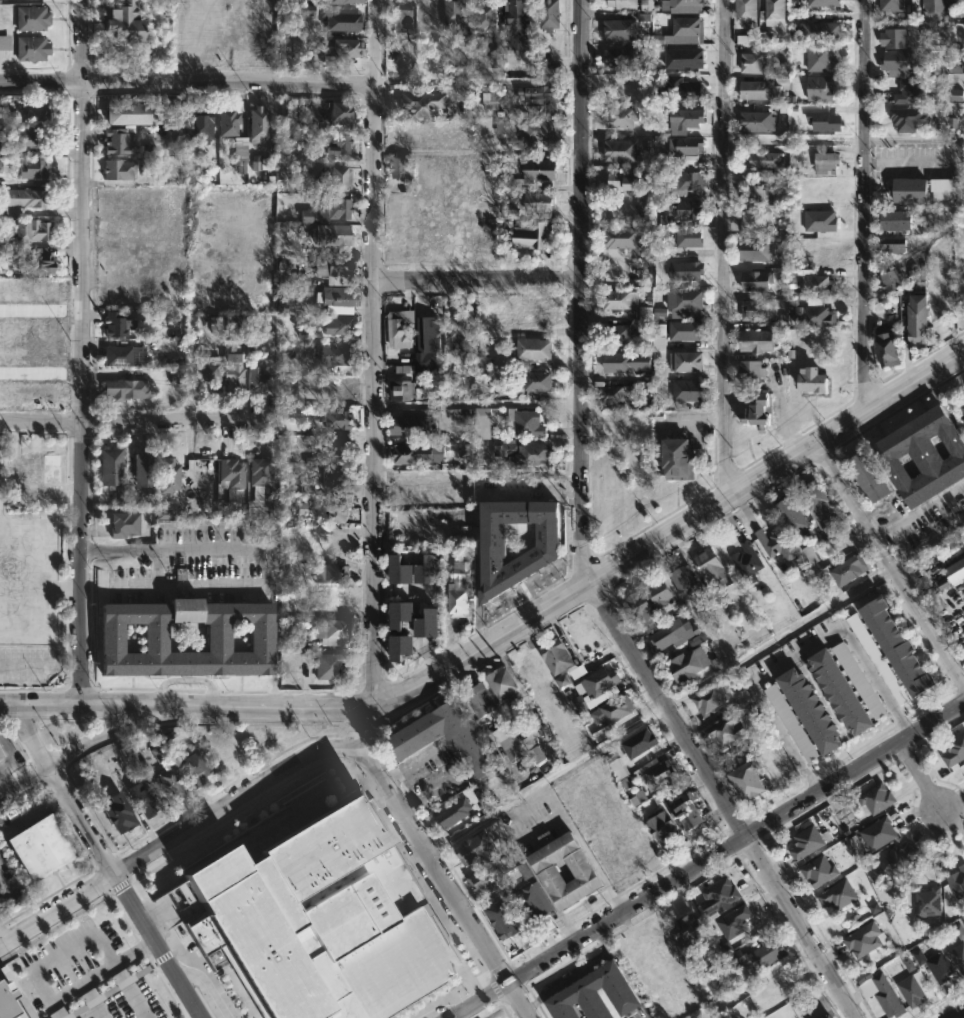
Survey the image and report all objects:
building: (346, 1)
building: (823, 2)
building: (687, 3)
building: (620, 4)
building: (895, 5)
building: (963, 5)
building: (938, 6)
building: (745, 12)
building: (773, 12)
building: (401, 14)
building: (551, 14)
building: (429, 15)
building: (458, 16)
building: (487, 16)
building: (32, 18)
building: (519, 20)
building: (125, 21)
building: (344, 21)
building: (627, 26)
building: (687, 26)
building: (822, 31)
building: (897, 37)
building: (747, 38)
building: (5, 42)
building: (34, 47)
building: (339, 49)
building: (503, 55)
building: (622, 58)
building: (687, 58)
building: (821, 58)
building: (756, 62)
building: (900, 62)
building: (422, 64)
building: (955, 64)
building: (543, 65)
road: (187, 82)
building: (821, 87)
building: (682, 89)
building: (629, 90)
building: (757, 90)
building: (912, 91)
building: (955, 94)
building: (541, 97)
building: (491, 101)
building: (425, 103)
building: (35, 110)
building: (130, 113)
building: (289, 114)
building: (342, 114)
building: (624, 117)
building: (687, 117)
building: (909, 118)
building: (229, 120)
building: (757, 121)
building: (824, 121)
building: (259, 123)
building: (503, 125)
building: (202, 126)
building: (542, 129)
building: (418, 134)
building: (463, 134)
building: (30, 137)
road: (913, 140)
building: (119, 141)
building: (337, 144)
building: (3, 149)
building: (684, 149)
building: (623, 150)
building: (243, 154)
building: (769, 158)
road: (909, 161)
building: (825, 163)
building: (32, 168)
building: (404, 168)
building: (120, 169)
building: (296, 170)
building: (541, 171)
building: (336, 178)
building: (626, 180)
building: (688, 182)
building: (908, 187)
building: (945, 188)
building: (760, 195)
building: (26, 197)
building: (543, 200)
road: (863, 207)
building: (688, 209)
building: (307, 215)
building: (893, 218)
building: (326, 219)
building: (756, 219)
building: (821, 222)
building: (458, 226)
building: (400, 229)
building: (34, 230)
building: (429, 231)
building: (534, 235)
building: (625, 237)
building: (688, 237)
building: (890, 245)
building: (755, 249)
road: (723, 251)
building: (35, 262)
building: (335, 266)
building: (685, 269)
building: (757, 280)
building: (895, 280)
road: (478, 281)
building: (814, 281)
building: (337, 296)
building: (30, 297)
building: (626, 300)
building: (686, 303)
building: (756, 308)
building: (534, 315)
building: (816, 315)
building: (919, 319)
building: (117, 324)
building: (339, 324)
building: (235, 327)
building: (29, 328)
building: (402, 328)
building: (685, 330)
building: (429, 332)
building: (460, 333)
building: (621, 335)
building: (761, 340)
building: (884, 347)
building: (537, 349)
road: (79, 353)
building: (124, 355)
building: (335, 355)
building: (29, 356)
building: (468, 359)
building: (685, 360)
building: (627, 362)
building: (209, 371)
building: (236, 371)
building: (754, 372)
building: (259, 380)
building: (540, 381)
building: (809, 381)
building: (126, 389)
building: (403, 390)
building: (337, 391)
building: (691, 391)
building: (29, 393)
building: (617, 395)
road: (476, 402)
building: (963, 408)
building: (757, 409)
building: (338, 418)
road: (133, 422)
building: (483, 423)
building: (406, 424)
building: (529, 424)
building: (339, 447)
building: (525, 453)
building: (405, 454)
building: (922, 456)
building: (676, 458)
building: (143, 466)
building: (231, 473)
building: (112, 474)
building: (171, 474)
building: (262, 475)
building: (336, 476)
building: (866, 476)
building: (525, 484)
building: (408, 496)
building: (459, 503)
building: (816, 503)
building: (337, 511)
building: (162, 514)
building: (795, 519)
building: (124, 525)
road: (369, 531)
building: (242, 533)
road: (669, 535)
building: (774, 543)
road: (928, 543)
road: (579, 547)
road: (94, 548)
road: (257, 554)
building: (545, 554)
building: (746, 561)
building: (809, 561)
road: (892, 563)
building: (710, 567)
building: (847, 568)
building: (954, 570)
building: (431, 571)
building: (403, 572)
building: (336, 574)
building: (683, 580)
building: (461, 590)
building: (657, 591)
building: (329, 597)
building: (288, 602)
building: (642, 610)
building: (407, 614)
building: (434, 624)
building: (332, 632)
building: (672, 633)
building: (219, 636)
road: (780, 640)
building: (893, 646)
building: (408, 647)
building: (553, 655)
building: (878, 659)
building: (685, 663)
building: (330, 666)
building: (563, 679)
road: (874, 679)
building: (598, 680)
building: (860, 680)
building: (509, 684)
building: (841, 692)
road: (756, 694)
building: (483, 700)
building: (707, 700)
road: (184, 707)
building: (611, 708)
building: (753, 709)
building: (811, 710)
building: (791, 722)
building: (723, 729)
building: (415, 740)
building: (637, 743)
building: (515, 747)
building: (954, 749)
road: (79, 754)
building: (158, 754)
road: (459, 754)
building: (537, 754)
building: (0, 756)
building: (194, 767)
building: (619, 767)
building: (658, 774)
road: (545, 777)
road: (919, 777)
building: (745, 780)
building: (171, 783)
road: (60, 792)
building: (875, 797)
building: (144, 798)
road: (236, 799)
building: (119, 811)
building: (456, 814)
building: (684, 816)
building: (660, 829)
building: (878, 833)
building: (805, 841)
building: (42, 845)
building: (478, 849)
building: (898, 858)
road: (707, 860)
building: (553, 871)
building: (816, 871)
building: (483, 882)
building: (957, 882)
building: (836, 894)
building: (717, 896)
building: (536, 900)
building: (927, 902)
road: (56, 908)
building: (315, 920)
building: (505, 920)
building: (734, 920)
building: (689, 928)
building: (959, 931)
building: (862, 940)
road: (155, 947)
road: (61, 953)
building: (757, 954)
building: (958, 956)
building: (909, 963)
building: (935, 965)
parking lot: (84, 973)
road: (99, 975)
building: (716, 982)
road: (203, 984)
building: (911, 990)
building: (591, 995)
building: (6, 1002)
building: (890, 1004)
road: (956, 1013)
building: (823, 1015)
building: (831, 1016)
road: (60, 1017)

